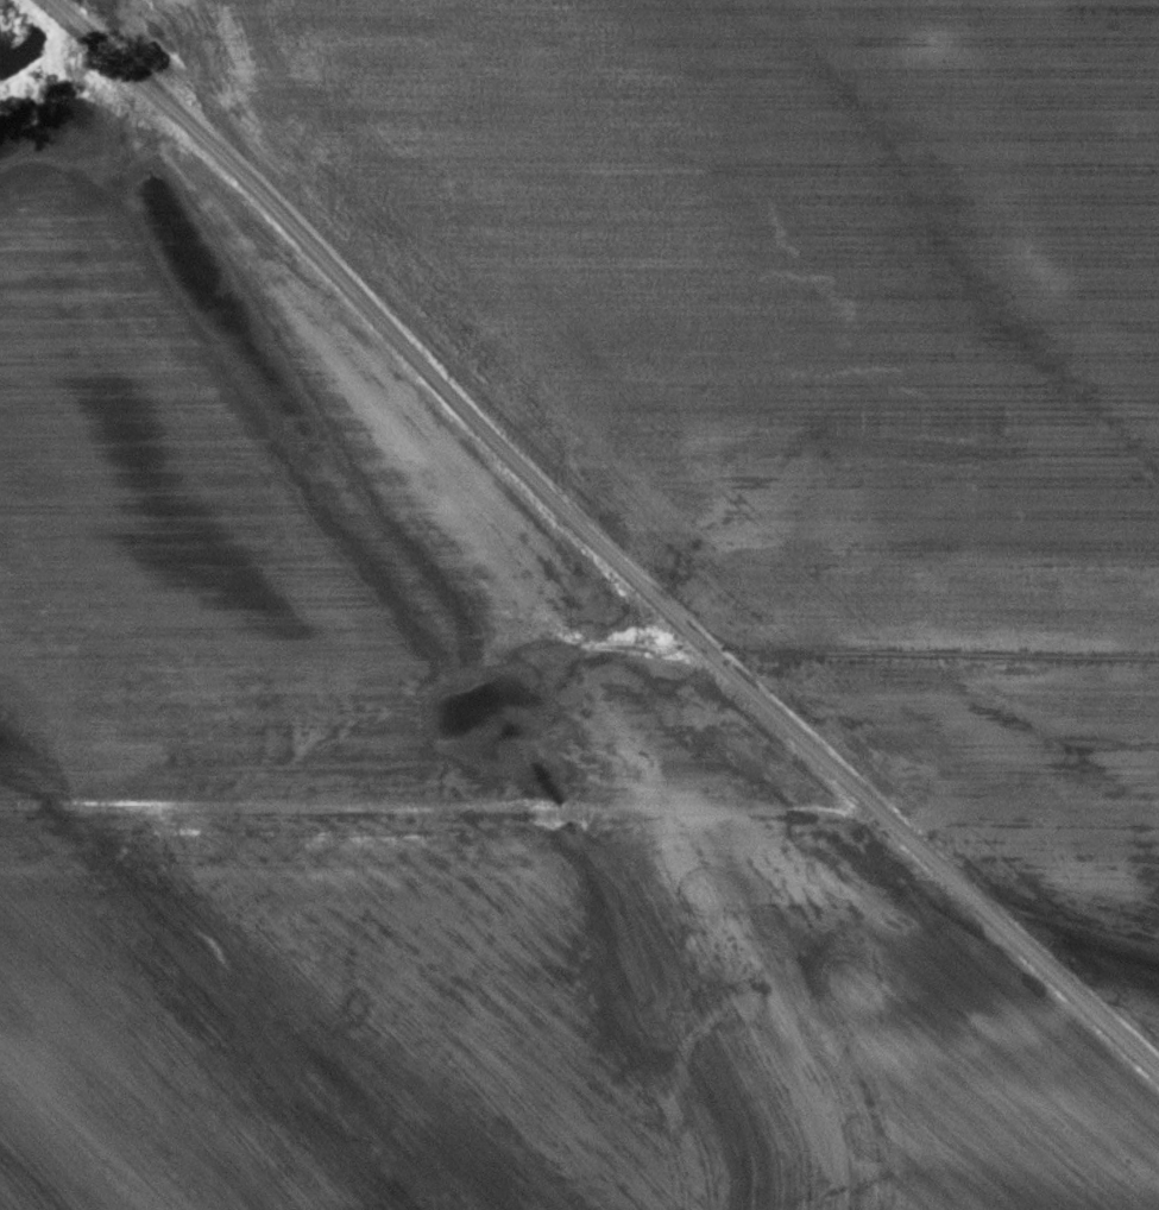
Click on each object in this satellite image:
road: (462, 399)
road: (1015, 940)

